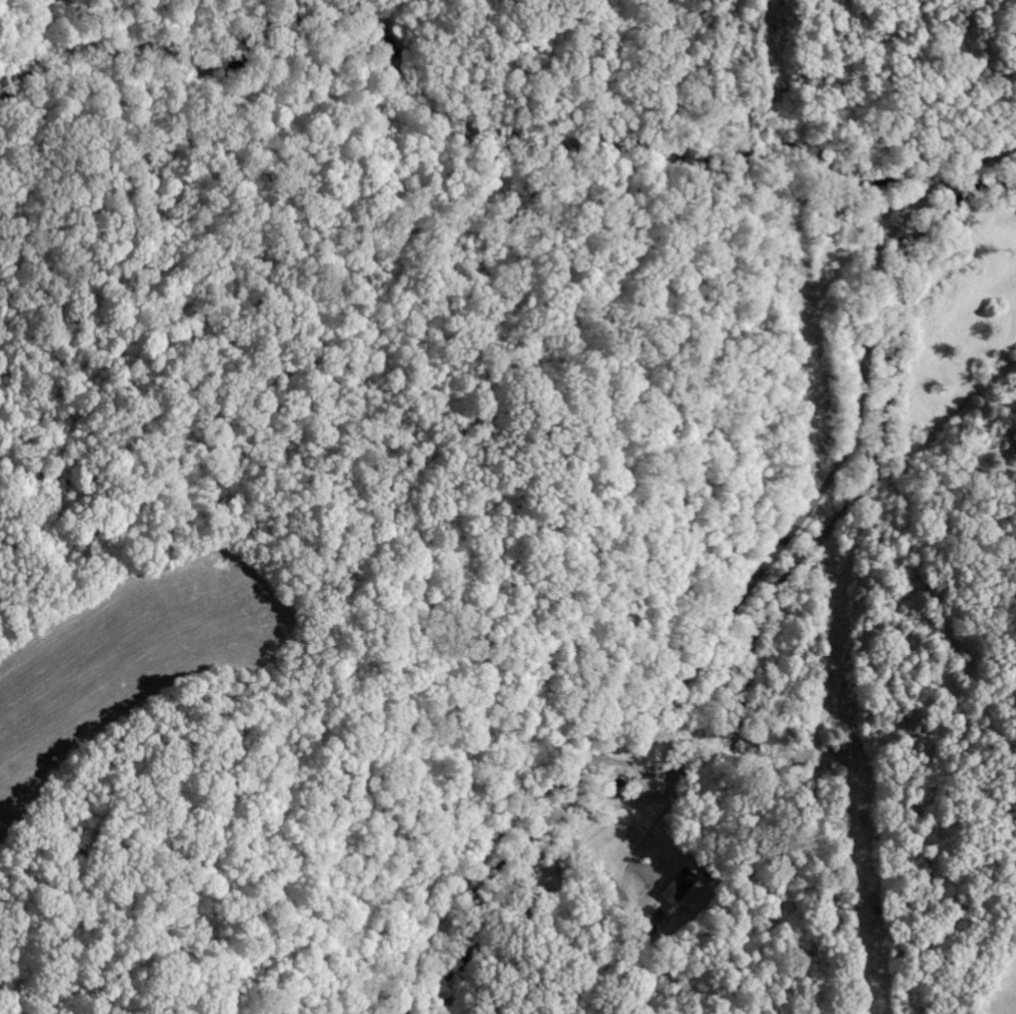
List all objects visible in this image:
road: (963, 167)
road: (892, 258)
road: (712, 638)
road: (597, 809)
building: (670, 886)

